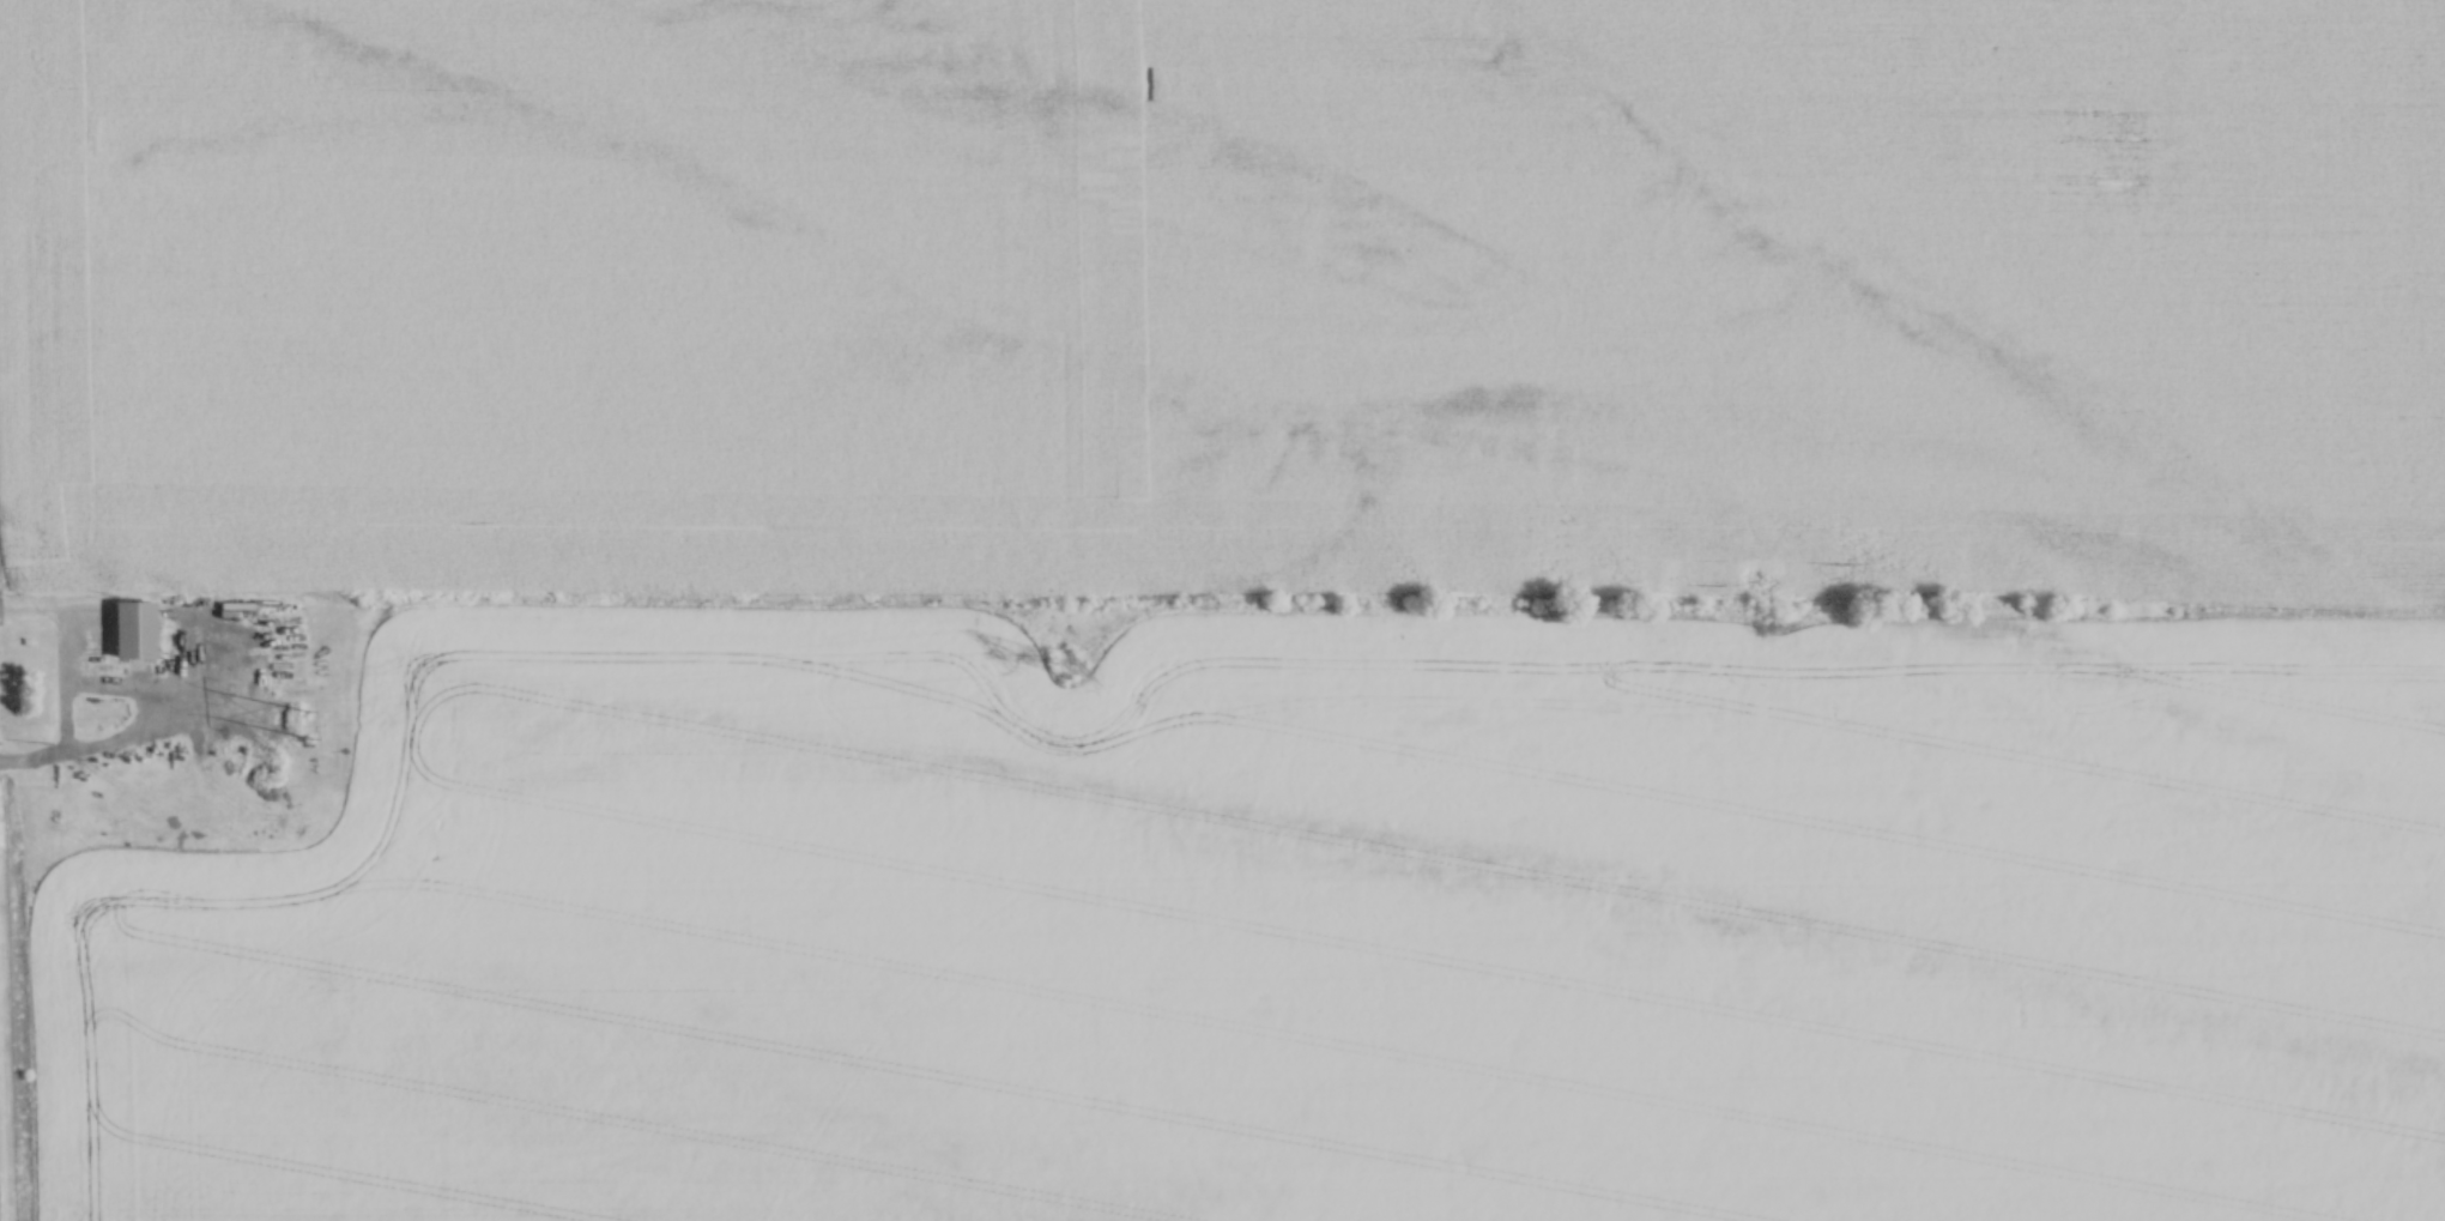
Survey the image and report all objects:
building: (133, 628)
power tower: (1069, 659)
road: (59, 679)
power tower: (310, 723)

